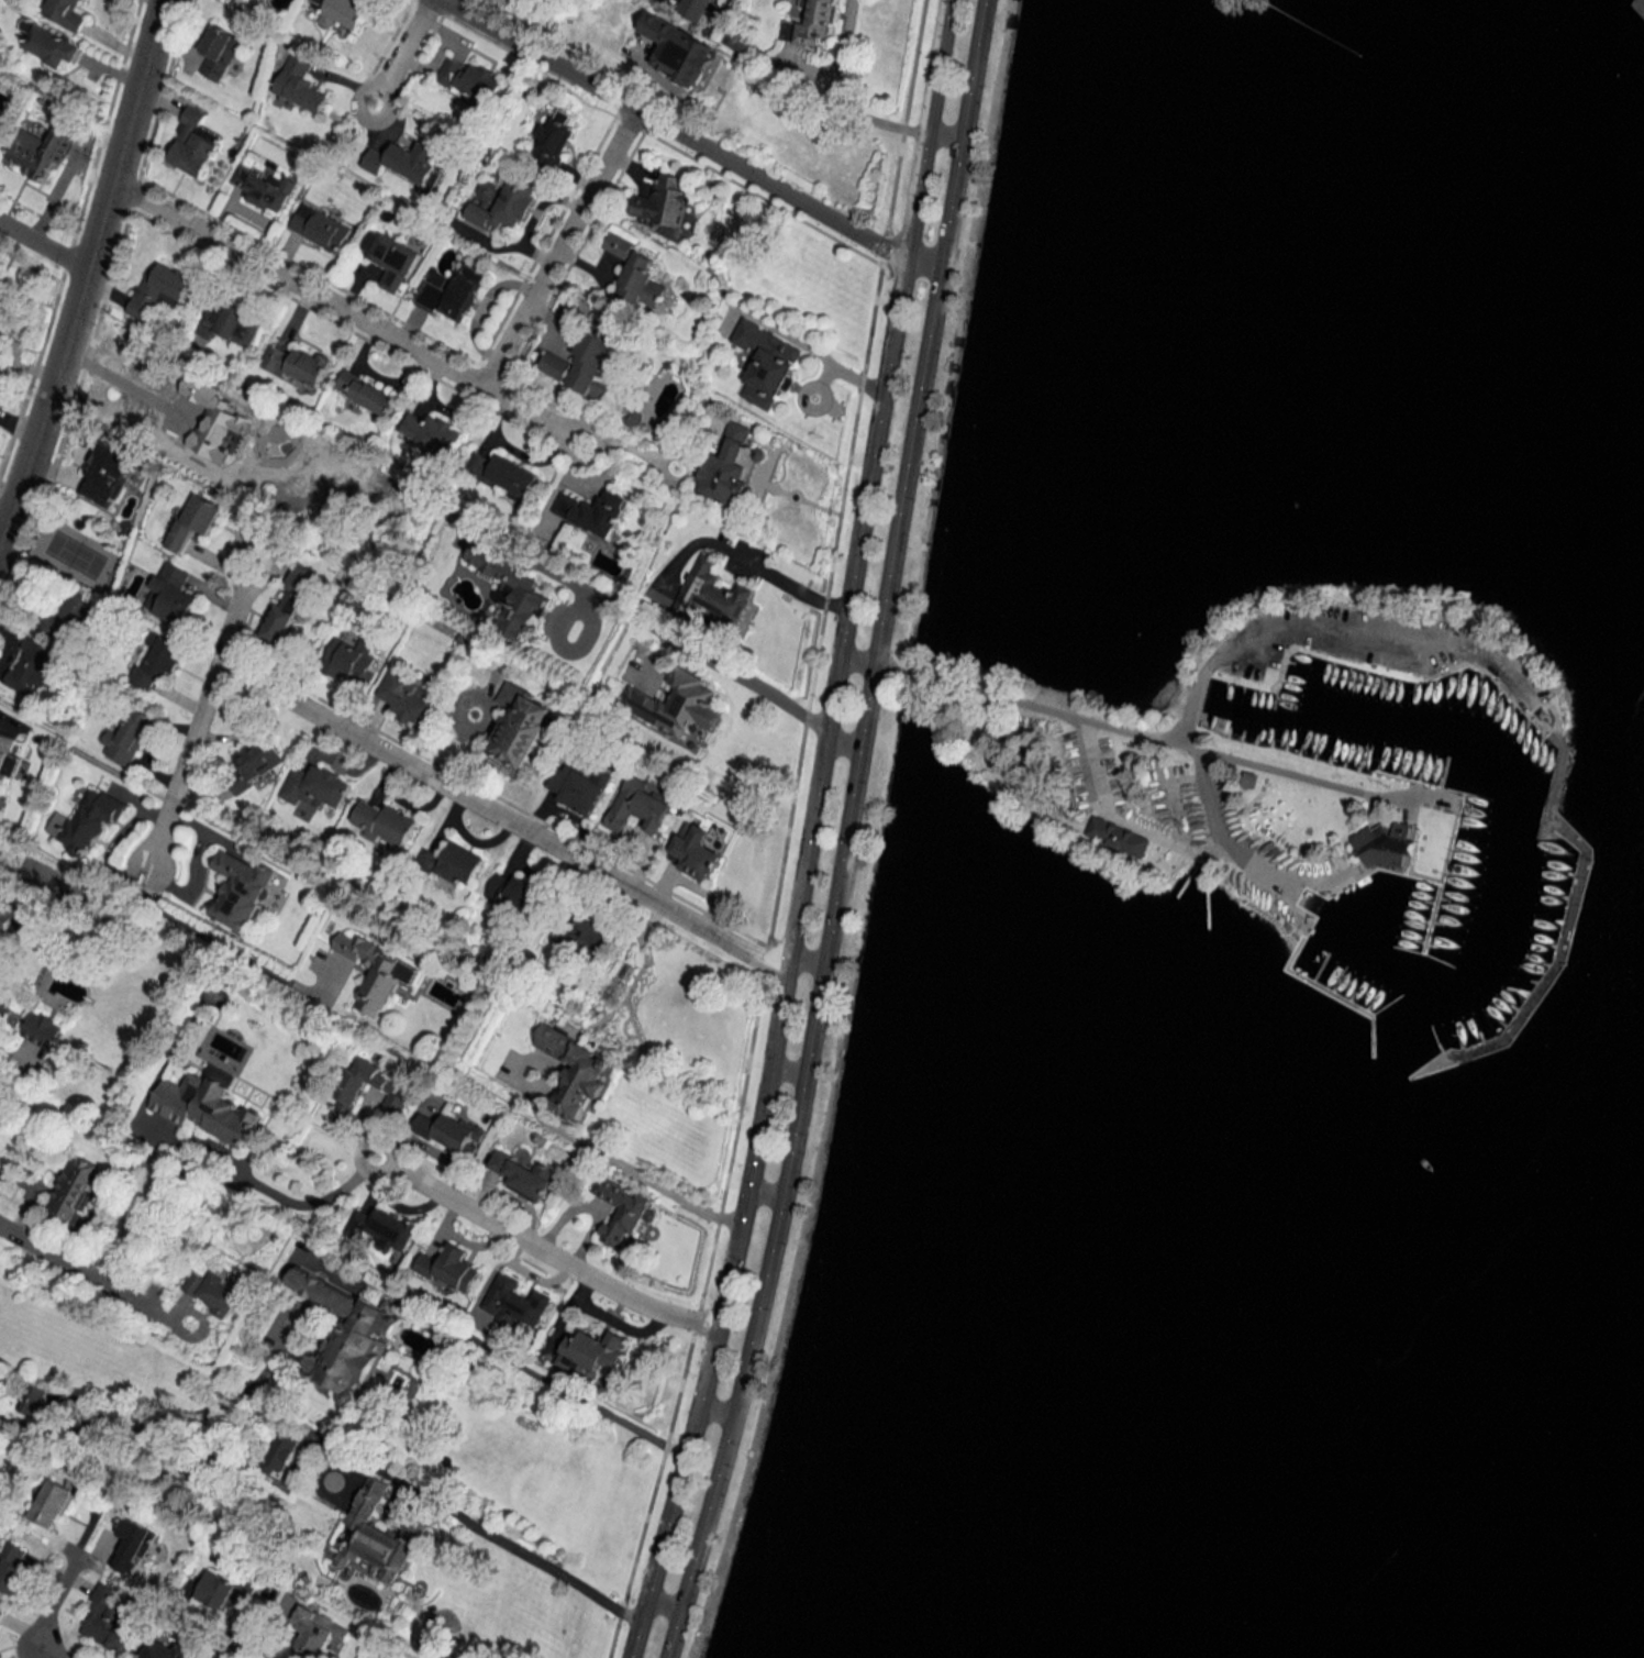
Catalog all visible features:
building: (513, 0)
park: (1230, 0)
building: (691, 9)
building: (343, 12)
building: (66, 13)
building: (812, 23)
building: (51, 44)
building: (678, 49)
building: (220, 52)
road: (403, 53)
building: (470, 79)
building: (300, 84)
road: (841, 95)
road: (945, 130)
road: (962, 130)
building: (554, 135)
road: (686, 139)
building: (192, 146)
building: (40, 152)
building: (403, 161)
building: (265, 189)
building: (660, 203)
building: (506, 206)
building: (320, 228)
road: (43, 246)
road: (557, 248)
building: (389, 258)
road: (85, 272)
building: (636, 274)
building: (159, 291)
building: (453, 294)
building: (7, 316)
road: (356, 318)
building: (229, 323)
road: (891, 325)
building: (587, 363)
building: (766, 363)
building: (298, 364)
road: (121, 368)
building: (365, 393)
building: (230, 406)
building: (431, 432)
building: (726, 468)
building: (352, 469)
building: (506, 474)
building: (108, 477)
building: (591, 512)
road: (4, 518)
building: (193, 521)
road: (784, 582)
building: (511, 590)
building: (709, 593)
building: (173, 594)
building: (289, 603)
building: (67, 615)
road: (1334, 622)
road: (660, 632)
parking lot: (1374, 642)
road: (855, 659)
building: (349, 660)
building: (158, 661)
building: (36, 666)
road: (892, 671)
building: (407, 697)
road: (202, 704)
building: (675, 704)
building: (519, 725)
road: (1143, 734)
building: (126, 738)
road: (841, 742)
building: (257, 758)
building: (7, 764)
building: (1247, 778)
building: (315, 786)
building: (577, 787)
building: (636, 806)
road: (1108, 810)
road: (499, 817)
building: (87, 821)
building: (385, 822)
building: (1119, 837)
road: (1222, 840)
building: (1382, 844)
building: (693, 851)
building: (454, 863)
building: (240, 889)
building: (511, 892)
building: (7, 915)
pier: (1428, 917)
building: (582, 935)
road: (213, 939)
road: (827, 939)
road: (803, 965)
building: (376, 972)
building: (653, 998)
pier: (1346, 1001)
building: (41, 1041)
road: (787, 1070)
building: (574, 1072)
building: (348, 1092)
building: (207, 1105)
building: (451, 1131)
road: (751, 1159)
road: (619, 1162)
building: (521, 1174)
building: (71, 1189)
road: (764, 1192)
road: (314, 1206)
building: (623, 1212)
building: (381, 1228)
road: (543, 1250)
building: (449, 1268)
road: (95, 1271)
building: (214, 1292)
building: (516, 1302)
building: (346, 1336)
building: (590, 1352)
road: (510, 1360)
building: (34, 1399)
road: (715, 1408)
road: (148, 1426)
building: (280, 1451)
building: (51, 1503)
building: (378, 1537)
building: (133, 1545)
road: (523, 1555)
building: (13, 1567)
building: (225, 1588)
road: (55, 1600)
road: (663, 1603)
building: (110, 1626)
building: (318, 1633)
road: (673, 1634)
road: (46, 1649)
building: (167, 1650)
road: (242, 1654)
building: (386, 1656)

